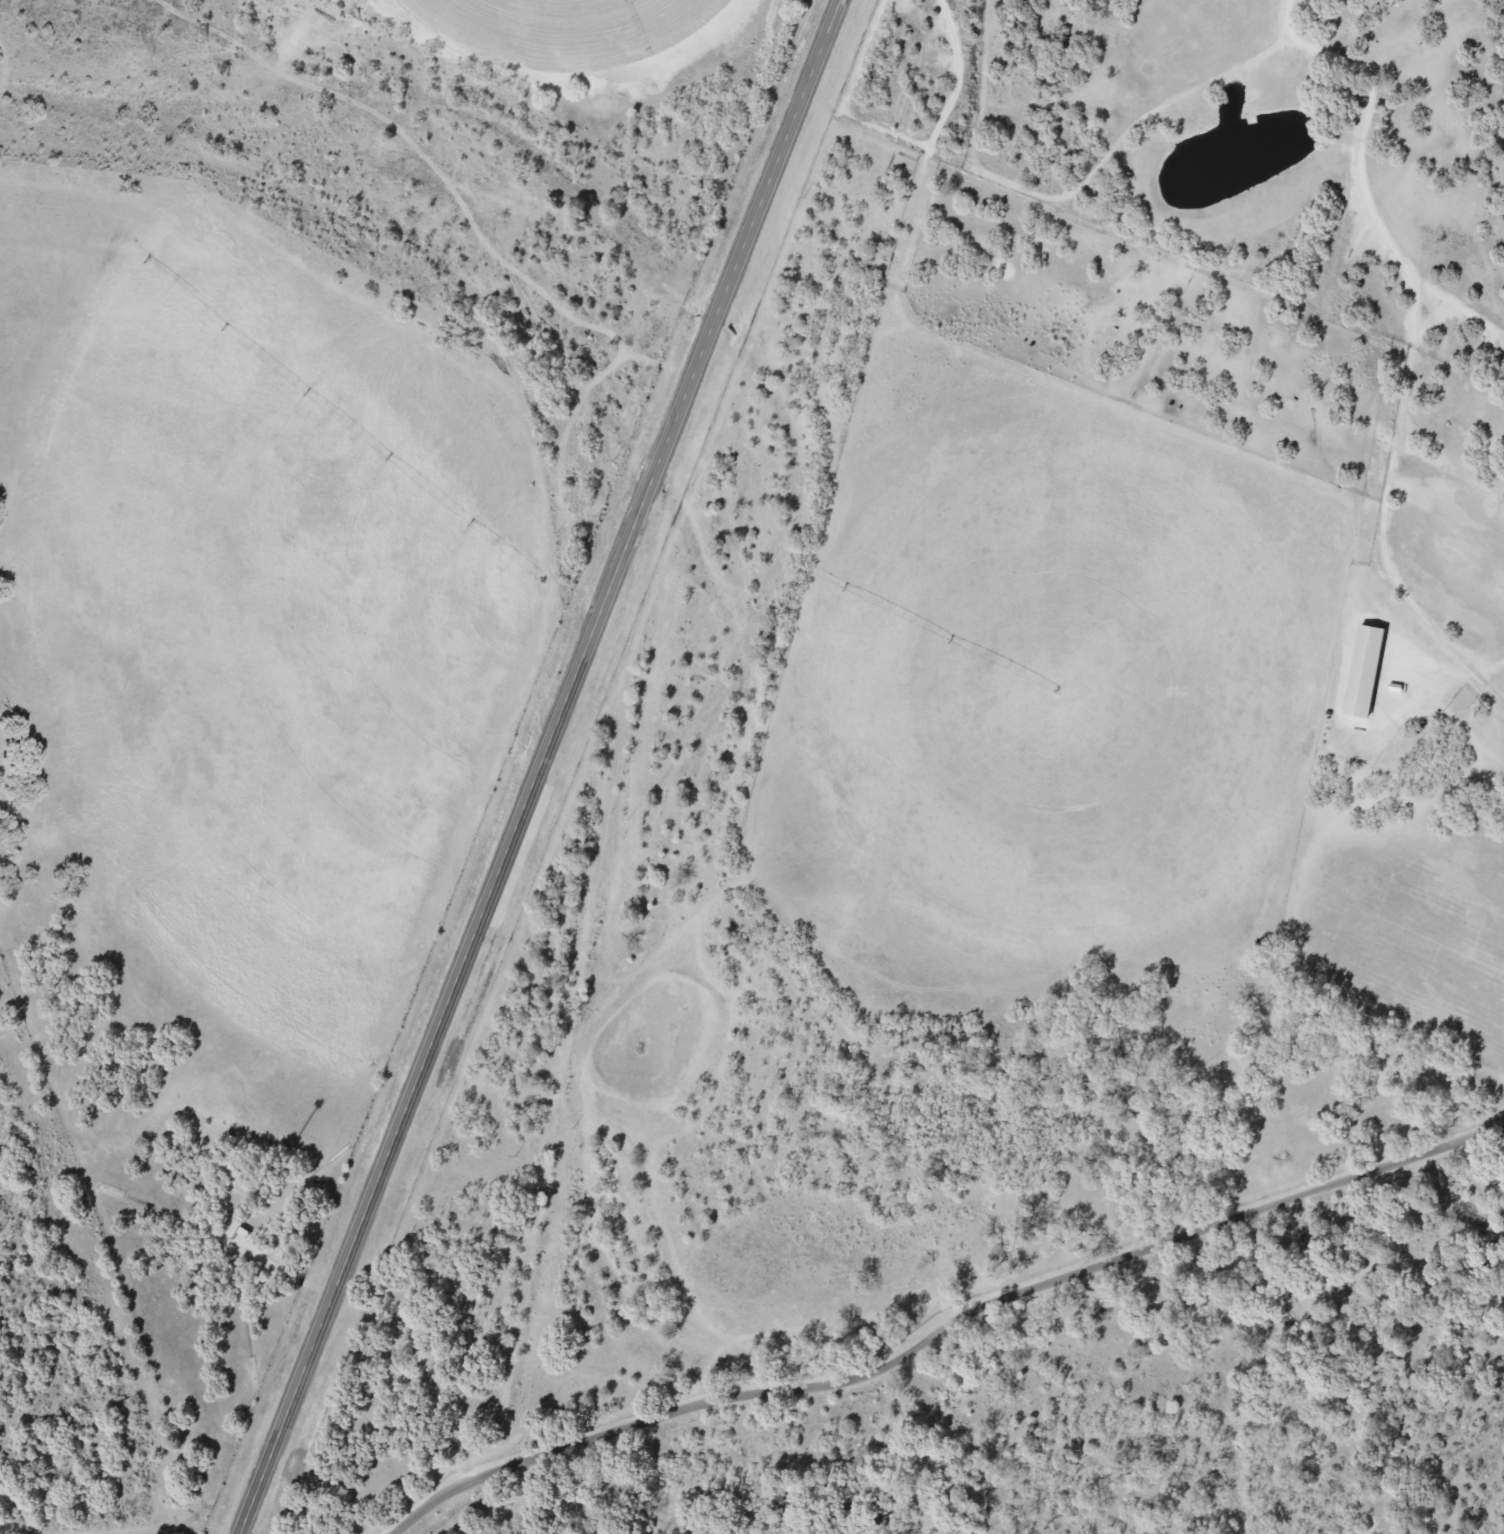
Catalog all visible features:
building: (1363, 651)
road: (1446, 731)
road: (539, 765)
road: (943, 1327)

